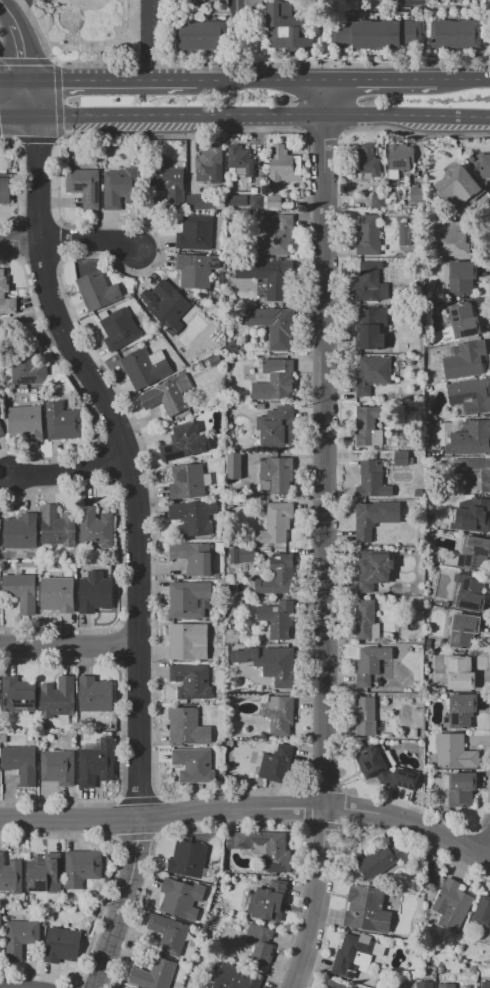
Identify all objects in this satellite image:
building: (219, 1)
road: (401, 1)
building: (448, 1)
road: (52, 2)
building: (192, 3)
building: (252, 3)
road: (236, 4)
parking lot: (31, 5)
road: (21, 13)
building: (285, 27)
parking lot: (156, 33)
building: (376, 34)
building: (455, 34)
building: (200, 35)
road: (23, 38)
road: (151, 40)
road: (378, 78)
road: (461, 78)
road: (258, 79)
road: (113, 80)
road: (16, 81)
traffic signals: (33, 81)
road: (18, 116)
traffic signals: (37, 116)
road: (263, 116)
building: (240, 159)
building: (399, 159)
building: (366, 162)
building: (209, 163)
building: (284, 165)
building: (485, 166)
building: (167, 181)
building: (458, 185)
building: (84, 186)
building: (118, 188)
building: (5, 191)
building: (416, 194)
building: (237, 200)
building: (378, 201)
building: (201, 202)
building: (269, 202)
building: (195, 233)
building: (404, 233)
building: (365, 234)
building: (276, 236)
building: (452, 238)
road: (19, 241)
road: (91, 243)
building: (195, 270)
building: (279, 278)
building: (461, 278)
building: (369, 283)
building: (98, 290)
building: (5, 298)
building: (166, 303)
building: (464, 320)
building: (273, 326)
building: (370, 327)
building: (119, 329)
building: (232, 346)
building: (215, 361)
building: (465, 361)
building: (27, 364)
building: (145, 367)
building: (372, 374)
building: (279, 376)
building: (168, 395)
building: (469, 396)
building: (261, 406)
building: (26, 422)
building: (64, 422)
building: (368, 425)
building: (277, 427)
building: (1, 432)
building: (472, 438)
building: (184, 443)
road: (324, 444)
building: (401, 458)
building: (233, 466)
road: (69, 473)
building: (472, 473)
building: (276, 475)
building: (188, 481)
building: (372, 482)
building: (470, 515)
building: (194, 517)
building: (374, 517)
building: (275, 523)
road: (143, 526)
building: (57, 527)
building: (95, 528)
building: (20, 531)
building: (247, 554)
building: (474, 554)
building: (194, 557)
building: (372, 571)
building: (278, 577)
building: (21, 591)
building: (469, 592)
building: (95, 593)
building: (58, 594)
building: (188, 599)
building: (278, 619)
building: (366, 620)
building: (463, 630)
building: (232, 637)
building: (188, 641)
road: (71, 650)
building: (370, 663)
building: (277, 665)
building: (459, 673)
building: (191, 681)
building: (18, 695)
building: (94, 695)
building: (57, 697)
building: (462, 710)
building: (279, 715)
building: (364, 715)
building: (187, 726)
building: (413, 732)
building: (258, 746)
building: (455, 751)
building: (274, 761)
building: (96, 762)
building: (20, 763)
building: (193, 765)
building: (58, 767)
building: (383, 769)
building: (459, 788)
road: (161, 814)
road: (409, 825)
building: (261, 847)
building: (187, 859)
building: (381, 860)
building: (81, 867)
building: (44, 873)
building: (11, 875)
building: (181, 898)
road: (316, 900)
building: (269, 901)
building: (452, 904)
building: (367, 910)
building: (483, 911)
building: (168, 933)
building: (0, 935)
building: (20, 937)
building: (61, 945)
building: (259, 946)
building: (355, 955)
building: (154, 974)
building: (235, 977)
building: (423, 984)
building: (485, 984)
building: (336, 985)
building: (446, 986)

